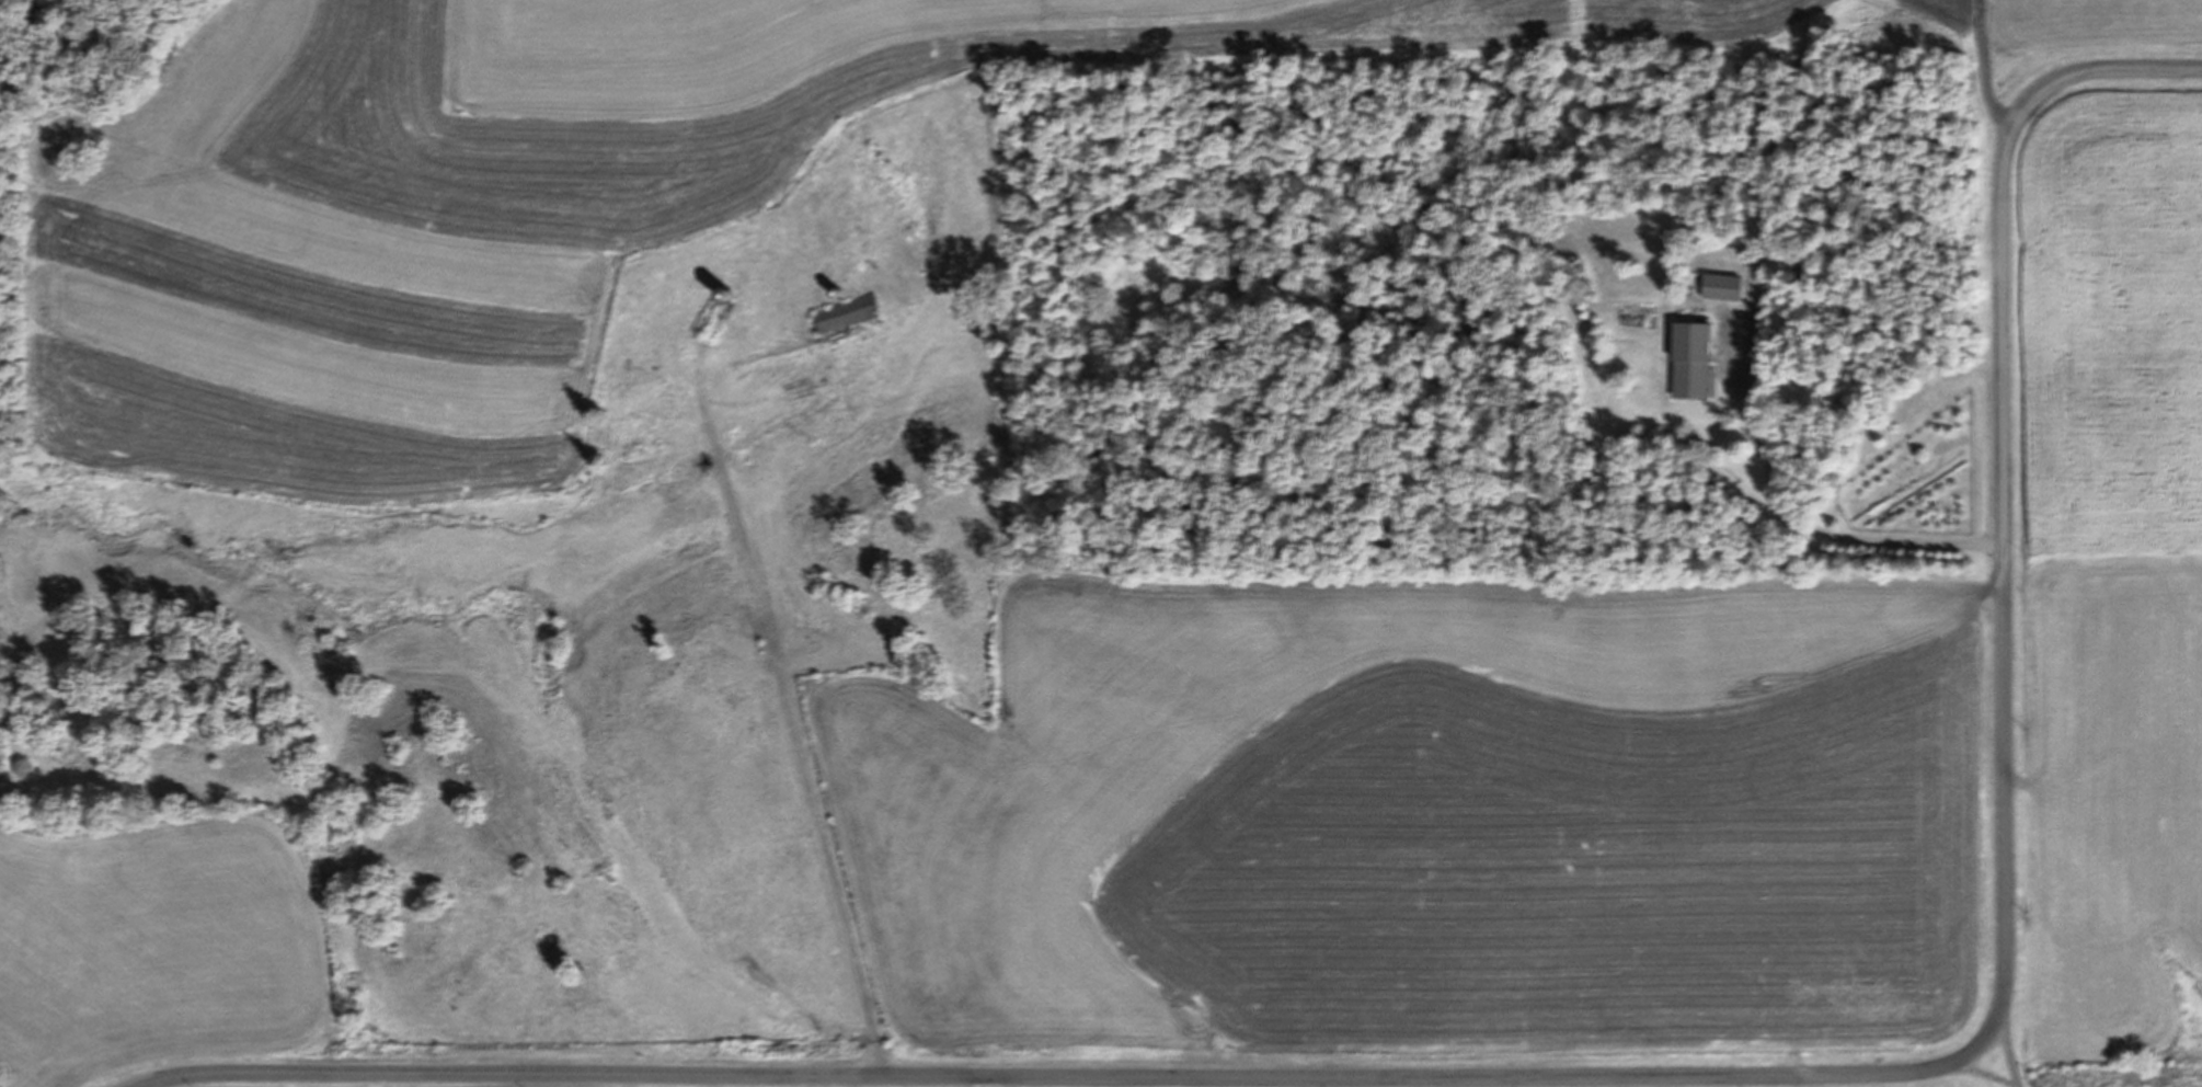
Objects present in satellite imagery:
building: (1721, 287)
building: (842, 312)
building: (1689, 361)
road: (823, 766)
road: (1999, 1066)
road: (1630, 1076)

